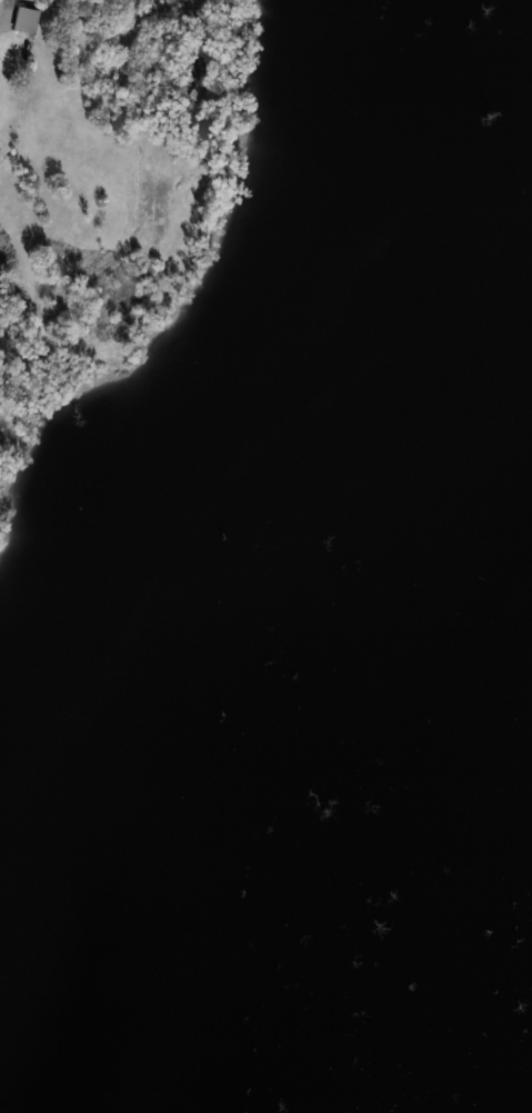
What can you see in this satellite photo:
road: (4, 0)
parking lot: (3, 9)
building: (21, 13)
building: (29, 20)

